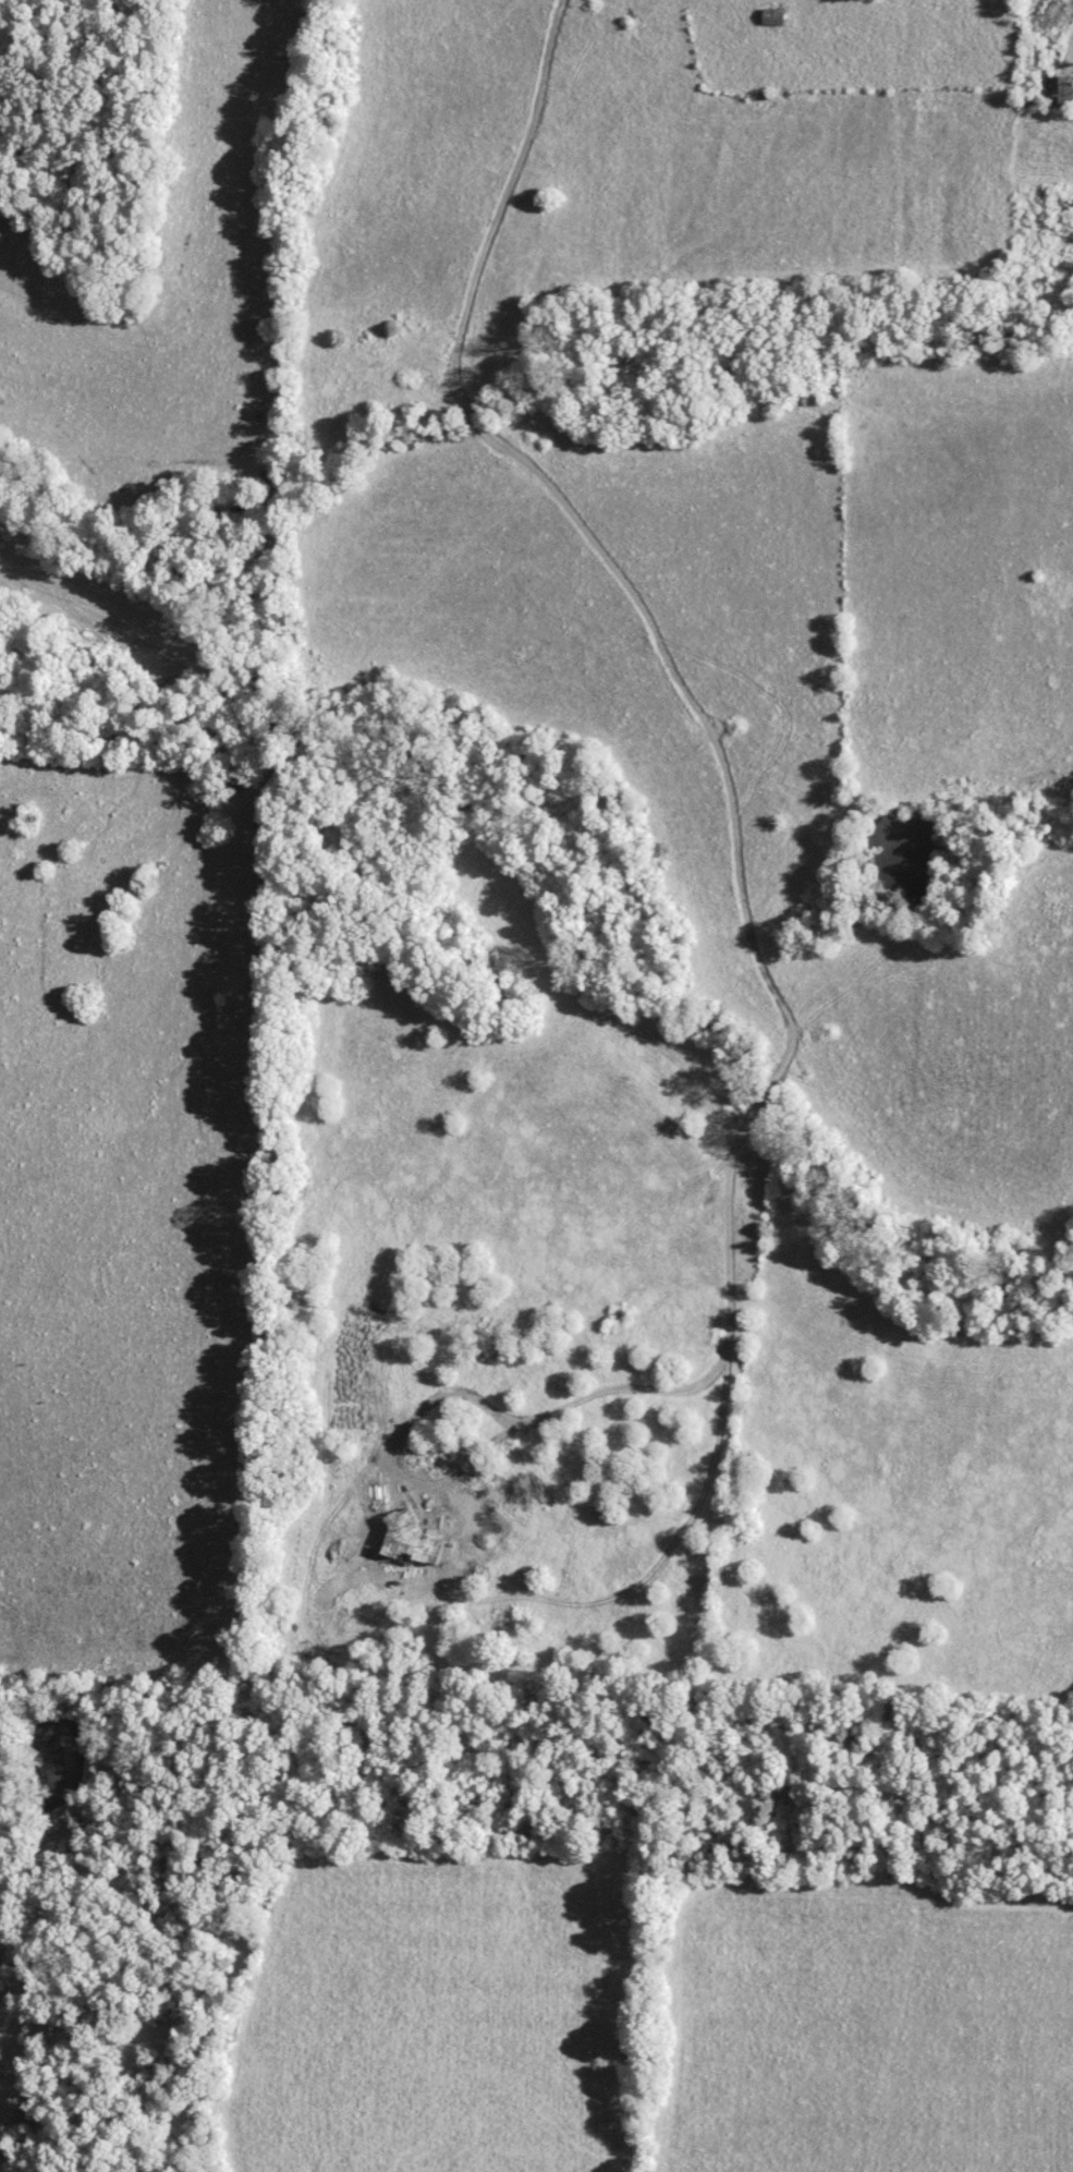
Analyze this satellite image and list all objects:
building: (775, 16)

